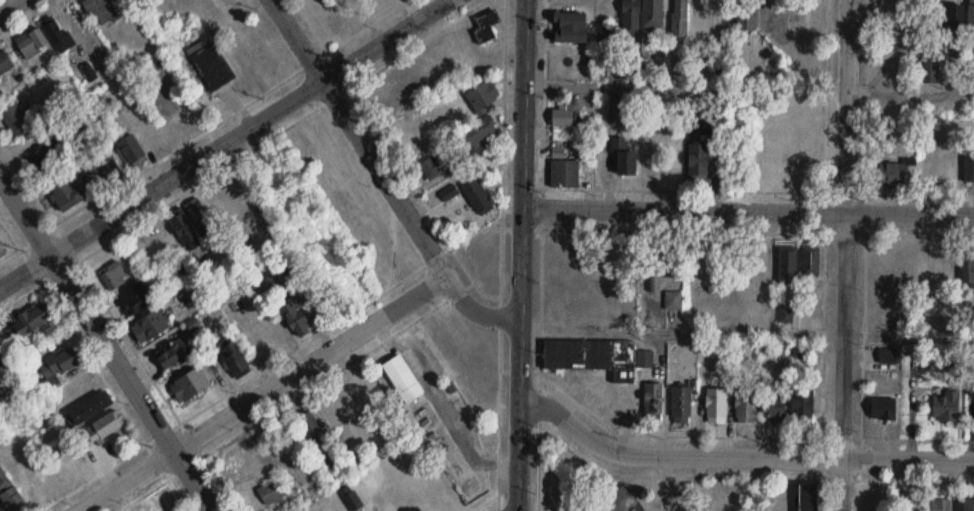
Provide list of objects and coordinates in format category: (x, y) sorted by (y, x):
road: (10, 6)
building: (101, 12)
building: (653, 14)
road: (27, 17)
building: (631, 17)
building: (746, 17)
building: (680, 18)
building: (954, 19)
building: (971, 19)
building: (570, 27)
building: (487, 28)
building: (44, 39)
building: (212, 63)
building: (5, 64)
building: (930, 69)
building: (969, 79)
road: (749, 89)
road: (503, 107)
building: (14, 118)
building: (562, 118)
road: (214, 123)
building: (415, 131)
building: (479, 133)
building: (148, 134)
road: (223, 142)
road: (605, 147)
building: (51, 151)
building: (132, 151)
building: (624, 159)
building: (698, 162)
building: (107, 167)
building: (435, 167)
building: (969, 167)
road: (220, 168)
building: (891, 173)
building: (564, 174)
road: (384, 176)
road: (412, 181)
building: (68, 194)
building: (225, 195)
building: (478, 196)
road: (748, 211)
building: (201, 216)
road: (576, 227)
building: (184, 228)
road: (17, 242)
building: (1, 250)
road: (443, 253)
road: (521, 255)
road: (844, 255)
building: (810, 260)
building: (788, 264)
building: (656, 267)
building: (928, 268)
building: (967, 269)
building: (113, 276)
road: (38, 285)
building: (136, 301)
building: (292, 315)
building: (35, 317)
building: (150, 326)
road: (747, 329)
road: (105, 343)
road: (540, 348)
building: (174, 355)
building: (593, 357)
building: (645, 359)
building: (235, 360)
road: (93, 363)
building: (59, 365)
building: (402, 379)
building: (189, 384)
road: (156, 385)
road: (262, 392)
building: (654, 400)
building: (681, 404)
building: (716, 405)
building: (803, 405)
building: (746, 406)
building: (945, 407)
building: (774, 408)
building: (883, 408)
building: (87, 409)
road: (821, 411)
building: (103, 427)
building: (310, 429)
road: (740, 456)
building: (271, 493)
road: (177, 494)
road: (491, 497)
building: (808, 497)
building: (351, 498)
building: (623, 500)
building: (912, 504)
building: (968, 505)

